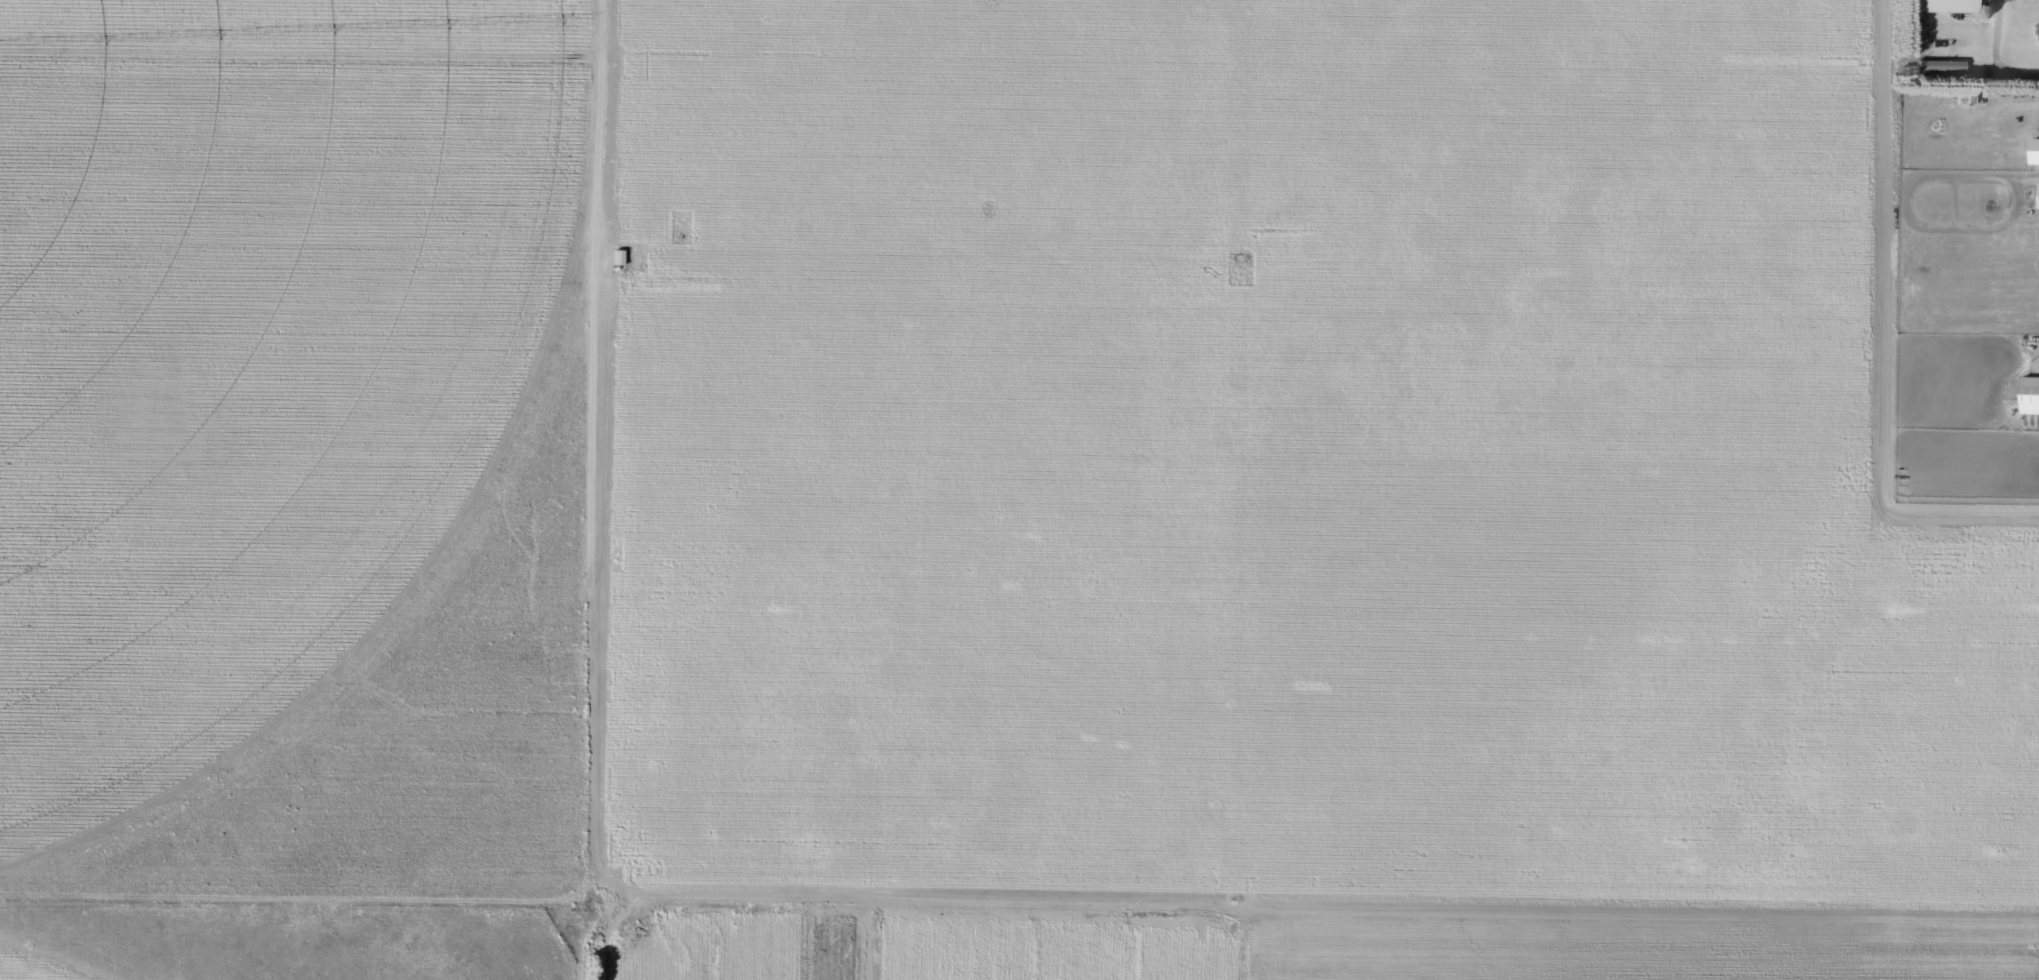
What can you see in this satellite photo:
building: (1951, 5)
building: (2033, 150)
building: (2037, 195)
building: (2028, 394)
road: (558, 489)
road: (987, 919)
road: (1257, 949)
road: (1974, 954)

